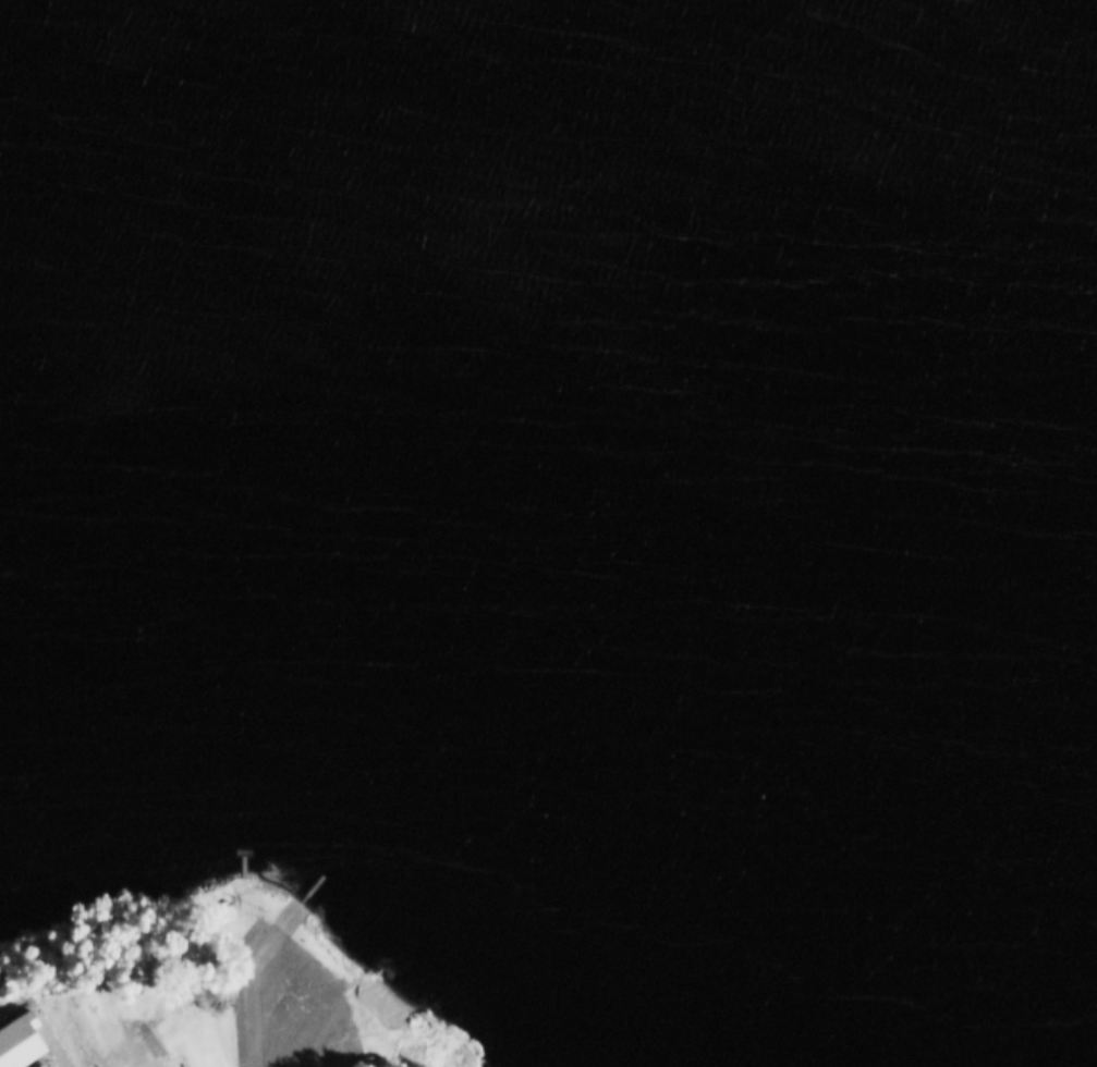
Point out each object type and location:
pier: (242, 847)
pier: (242, 855)
pier: (314, 883)
road: (263, 976)
building: (87, 1004)
building: (15, 1038)
building: (52, 1056)
building: (163, 1062)

